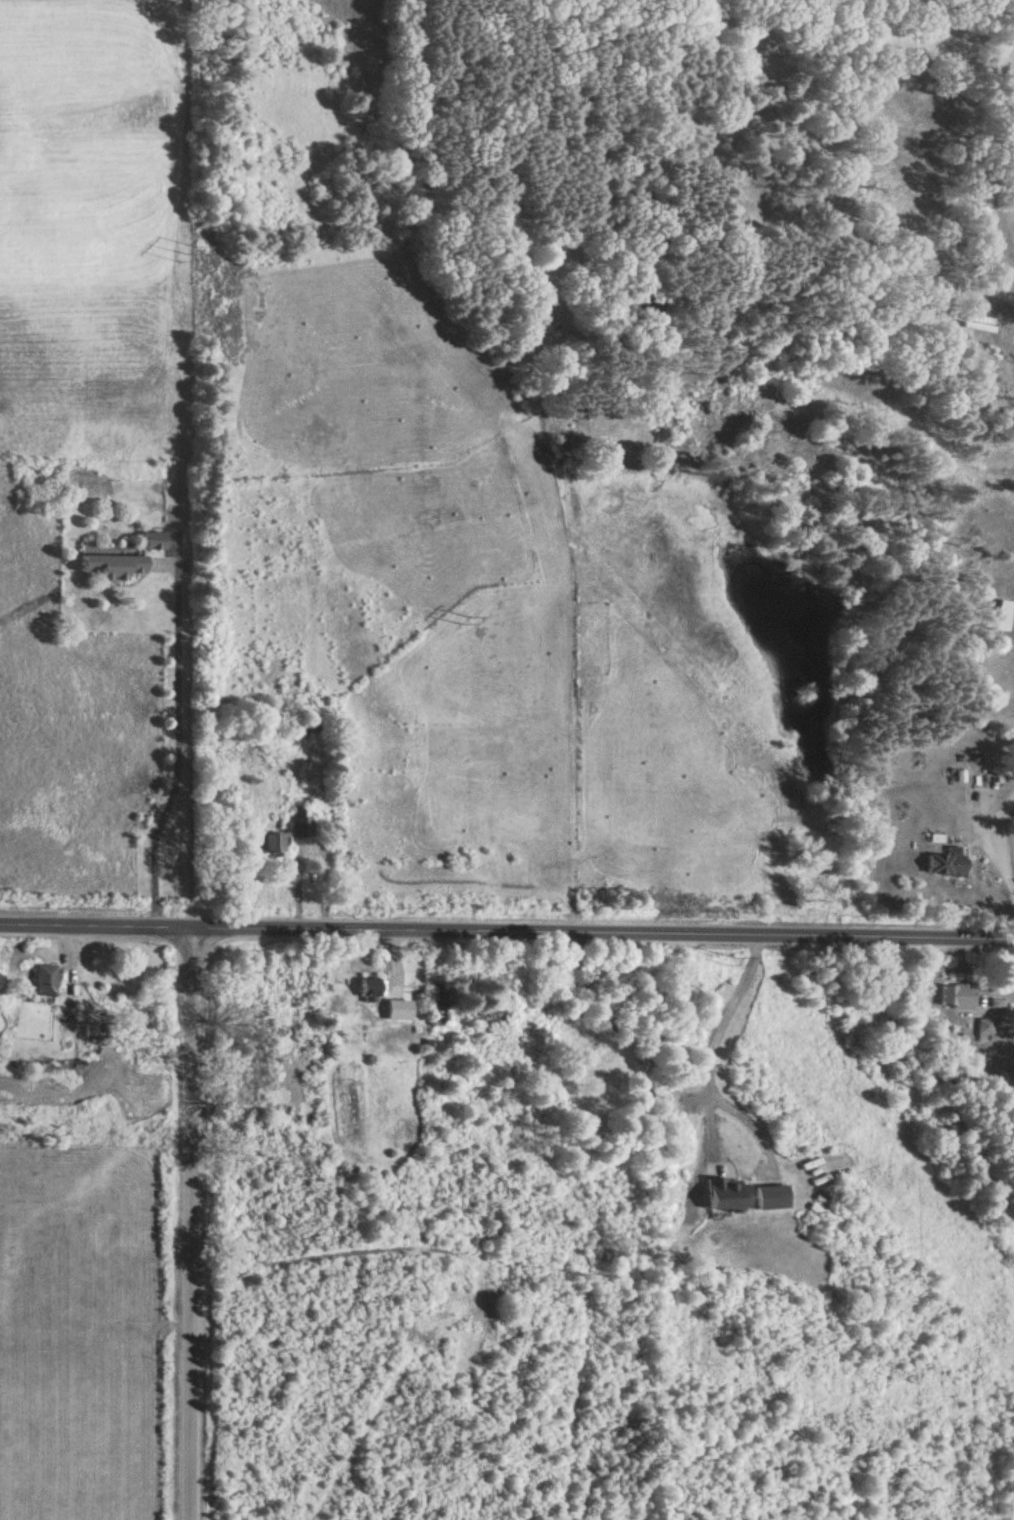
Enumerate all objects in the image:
power tower: (190, 253)
building: (980, 321)
building: (154, 543)
building: (111, 568)
building: (1003, 618)
power tower: (468, 620)
building: (307, 729)
road: (178, 749)
building: (301, 826)
building: (269, 846)
road: (996, 850)
building: (946, 865)
road: (507, 936)
power tower: (732, 959)
building: (46, 982)
building: (371, 990)
building: (956, 998)
road: (999, 1007)
building: (479, 1016)
building: (984, 1032)
road: (713, 1045)
building: (731, 1198)
building: (772, 1201)
road: (195, 1225)

